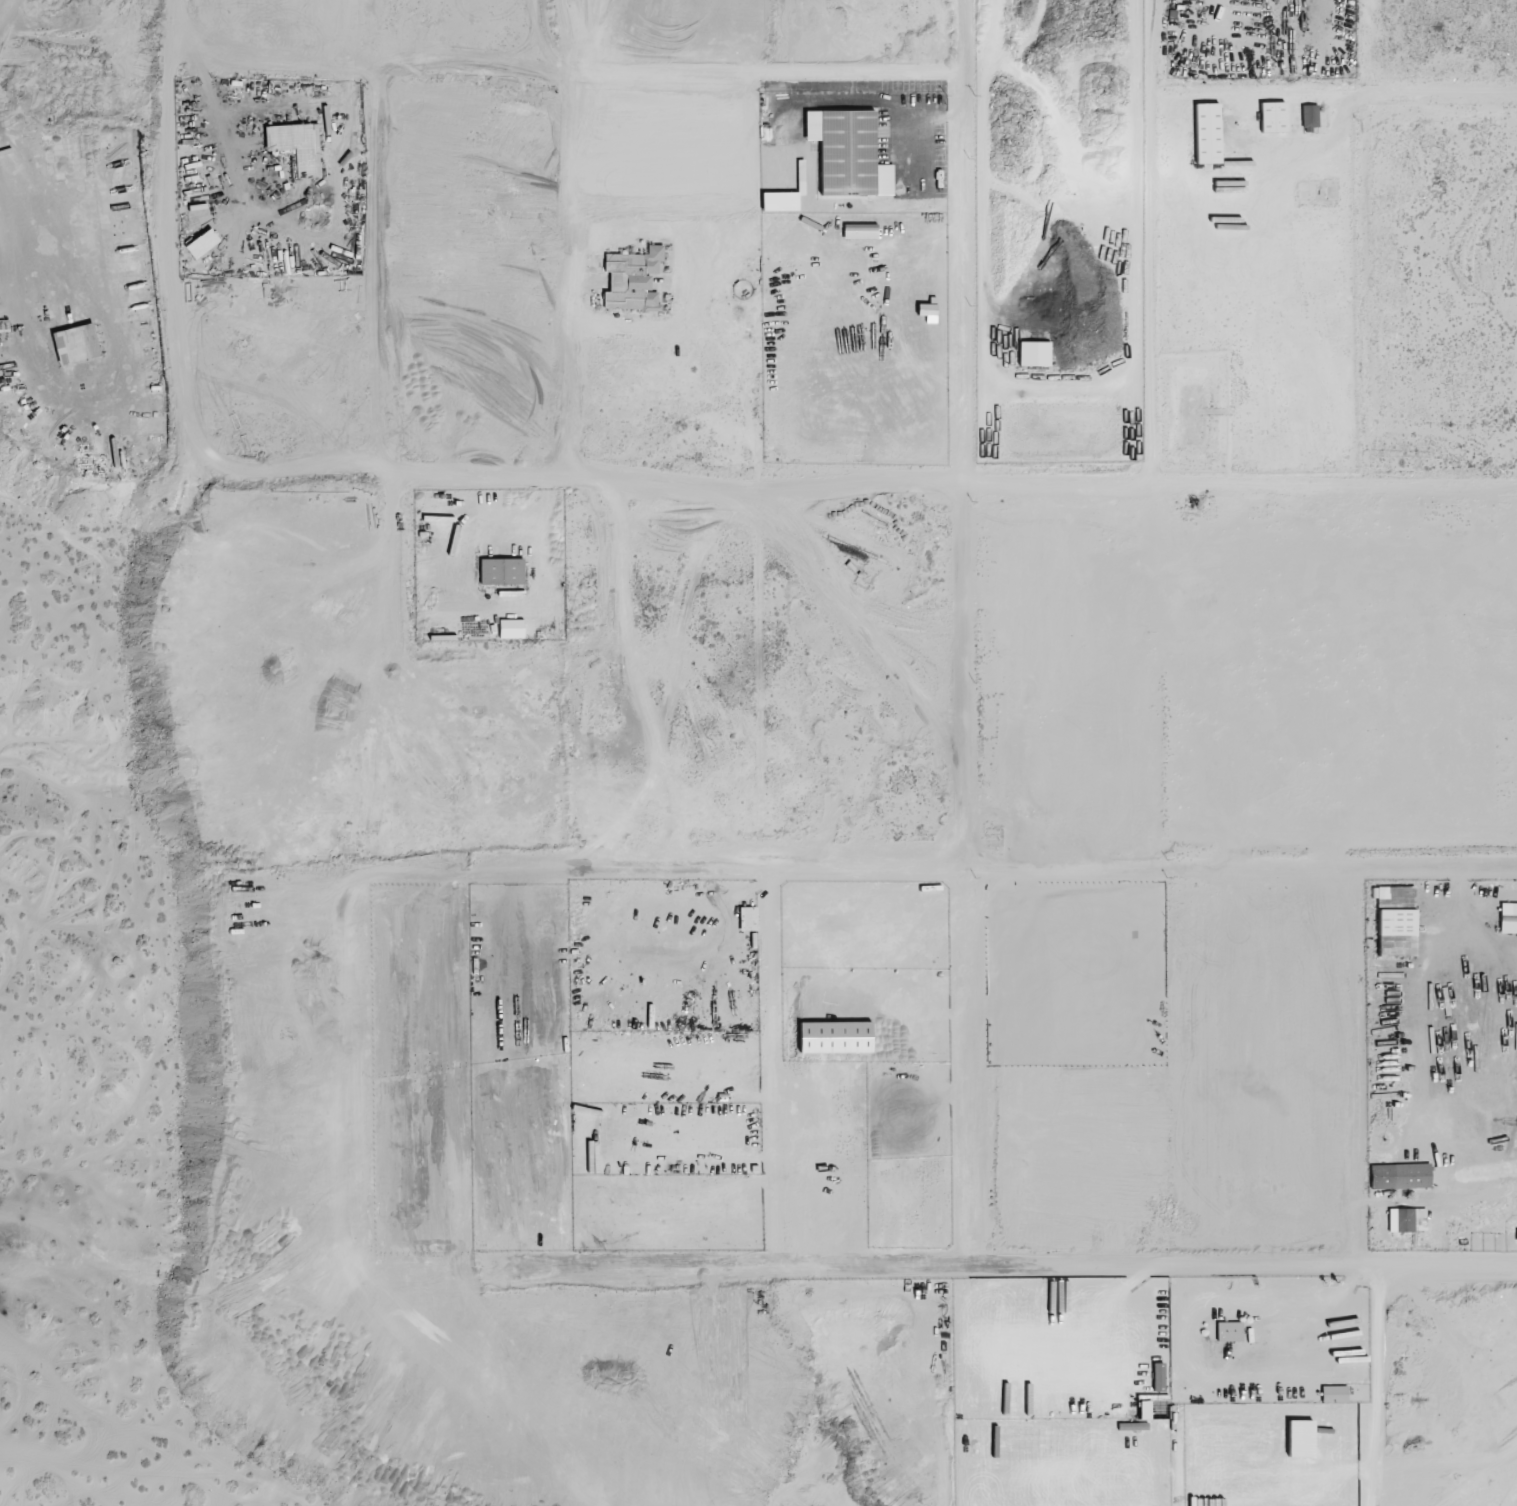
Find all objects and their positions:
road: (637, 33)
building: (1272, 117)
building: (1309, 117)
building: (1207, 133)
building: (297, 146)
building: (845, 152)
road: (167, 209)
building: (860, 231)
building: (202, 243)
road: (1149, 244)
building: (632, 280)
building: (72, 343)
building: (1032, 353)
road: (832, 491)
building: (501, 571)
building: (511, 628)
road: (962, 631)
road: (932, 867)
building: (747, 916)
building: (1508, 918)
building: (1396, 921)
road: (765, 1067)
building: (1398, 1176)
building: (1407, 1220)
road: (1020, 1263)
building: (1229, 1331)
building: (1334, 1394)

